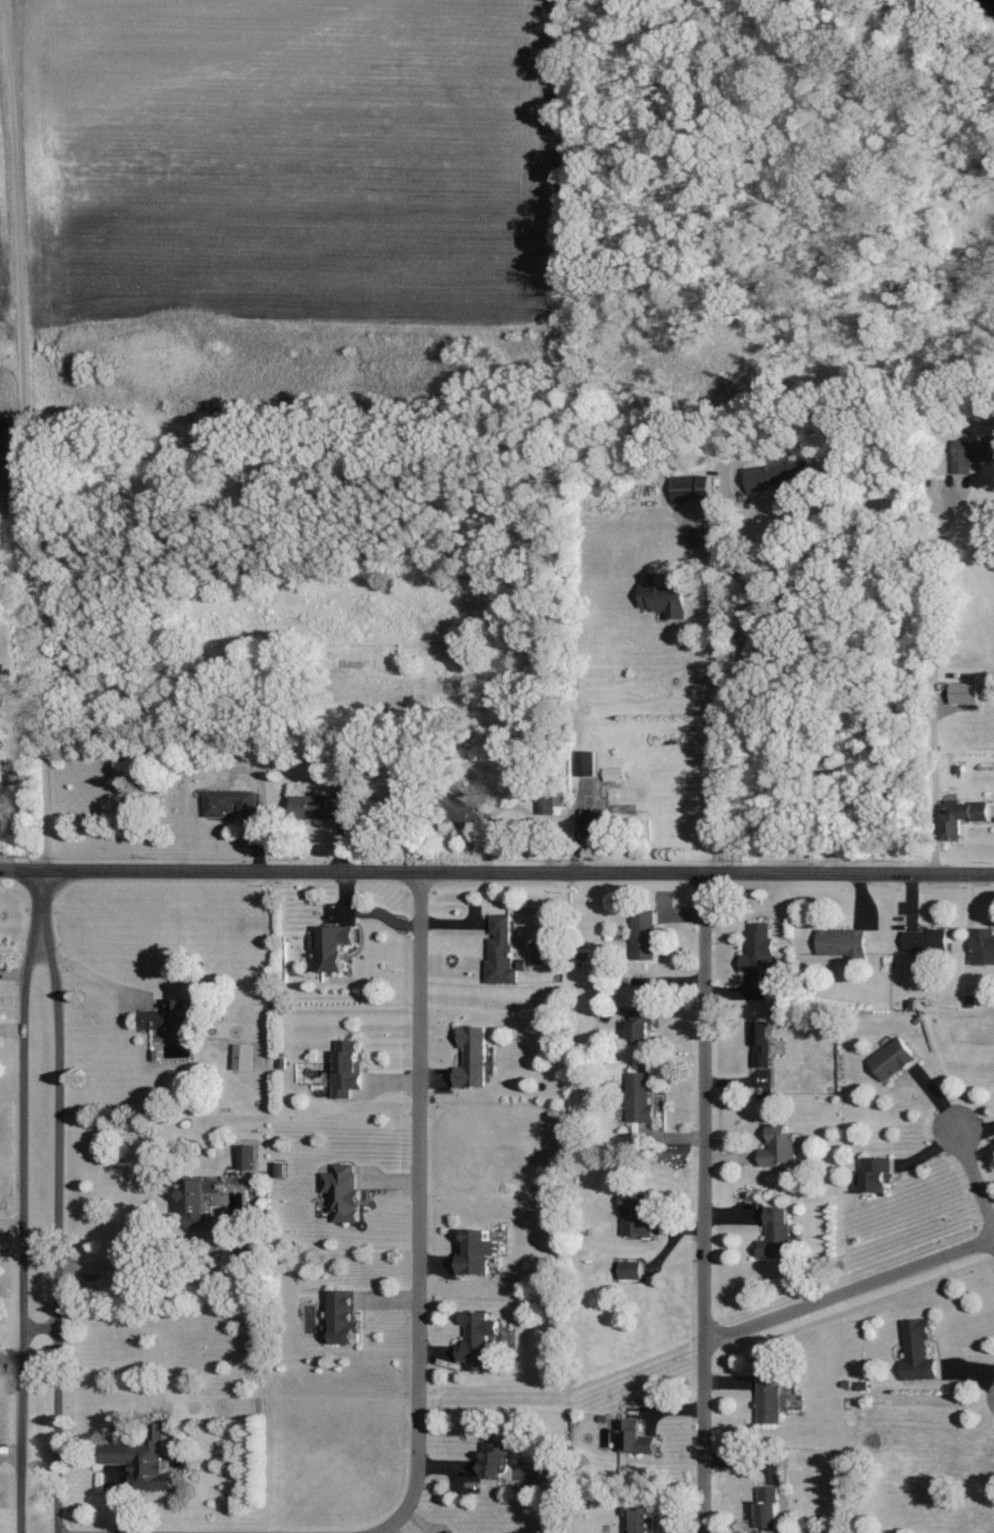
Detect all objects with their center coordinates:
road: (29, 436)
building: (971, 454)
building: (778, 476)
building: (692, 488)
building: (701, 536)
road: (744, 541)
building: (663, 595)
road: (927, 681)
building: (965, 692)
road: (736, 720)
building: (586, 762)
building: (614, 773)
building: (6, 782)
building: (230, 801)
building: (551, 802)
building: (324, 805)
building: (462, 811)
building: (961, 817)
building: (593, 822)
road: (497, 870)
road: (38, 903)
building: (644, 934)
building: (925, 940)
building: (843, 944)
building: (332, 946)
building: (982, 946)
building: (759, 949)
building: (500, 950)
road: (98, 988)
building: (971, 1001)
building: (170, 1017)
building: (762, 1044)
building: (243, 1056)
building: (472, 1057)
building: (893, 1059)
building: (346, 1069)
building: (640, 1097)
building: (779, 1146)
building: (246, 1157)
building: (877, 1174)
road: (974, 1183)
building: (342, 1193)
building: (198, 1201)
road: (700, 1202)
road: (414, 1208)
building: (636, 1216)
road: (16, 1231)
road: (52, 1231)
building: (776, 1235)
building: (476, 1252)
road: (134, 1269)
building: (629, 1269)
road: (847, 1288)
building: (344, 1317)
road: (34, 1328)
building: (477, 1340)
building: (918, 1351)
building: (768, 1399)
building: (633, 1437)
building: (494, 1458)
building: (141, 1460)
building: (768, 1508)
road: (417, 1519)
building: (643, 1520)
road: (390, 1529)
building: (452, 1532)

